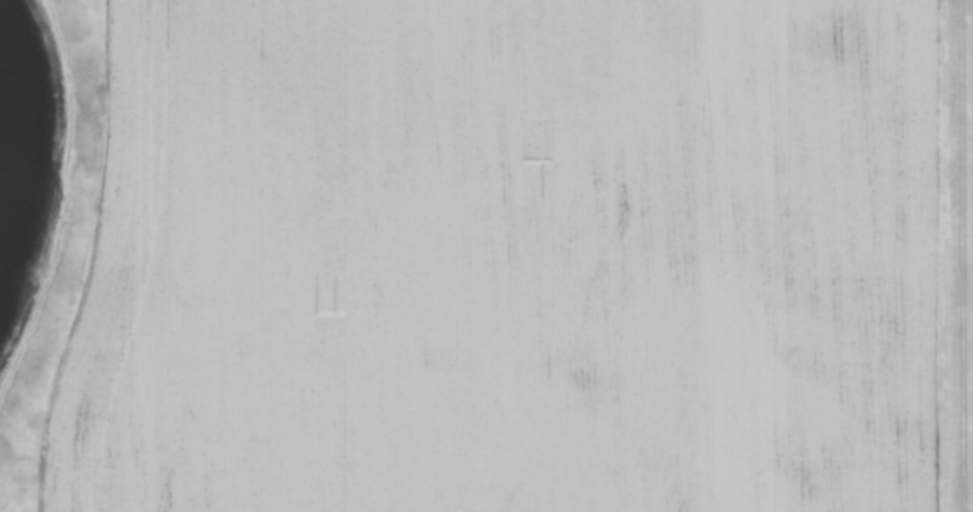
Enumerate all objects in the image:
road: (968, 255)

